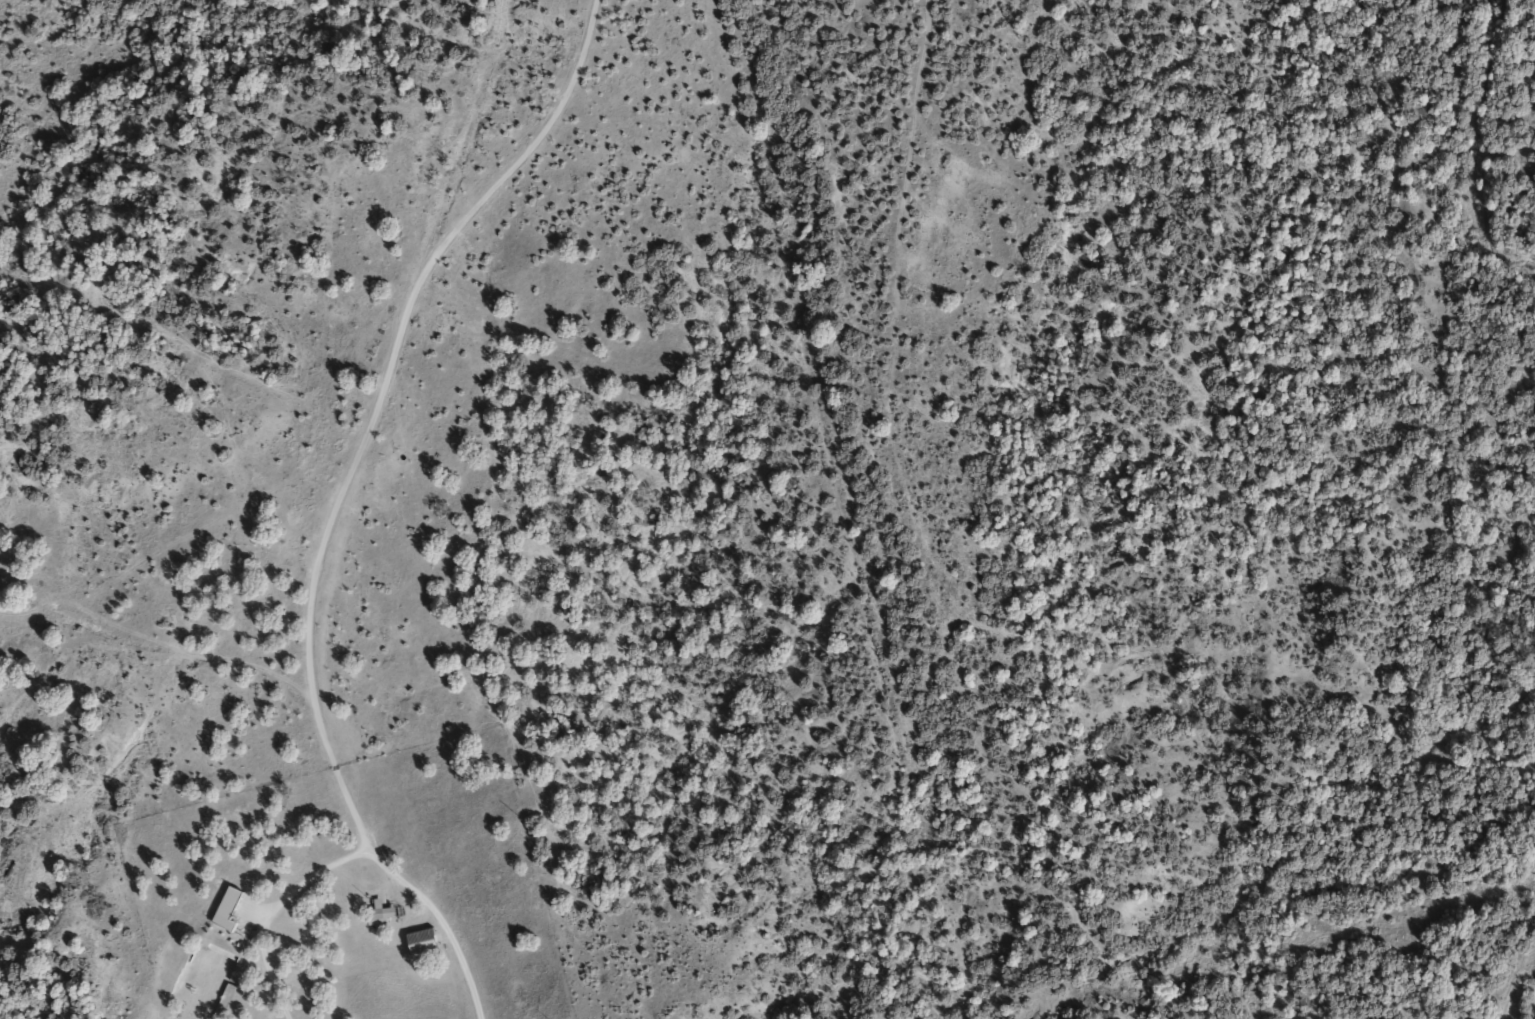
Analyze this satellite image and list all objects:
road: (355, 854)
building: (230, 918)
building: (425, 950)

